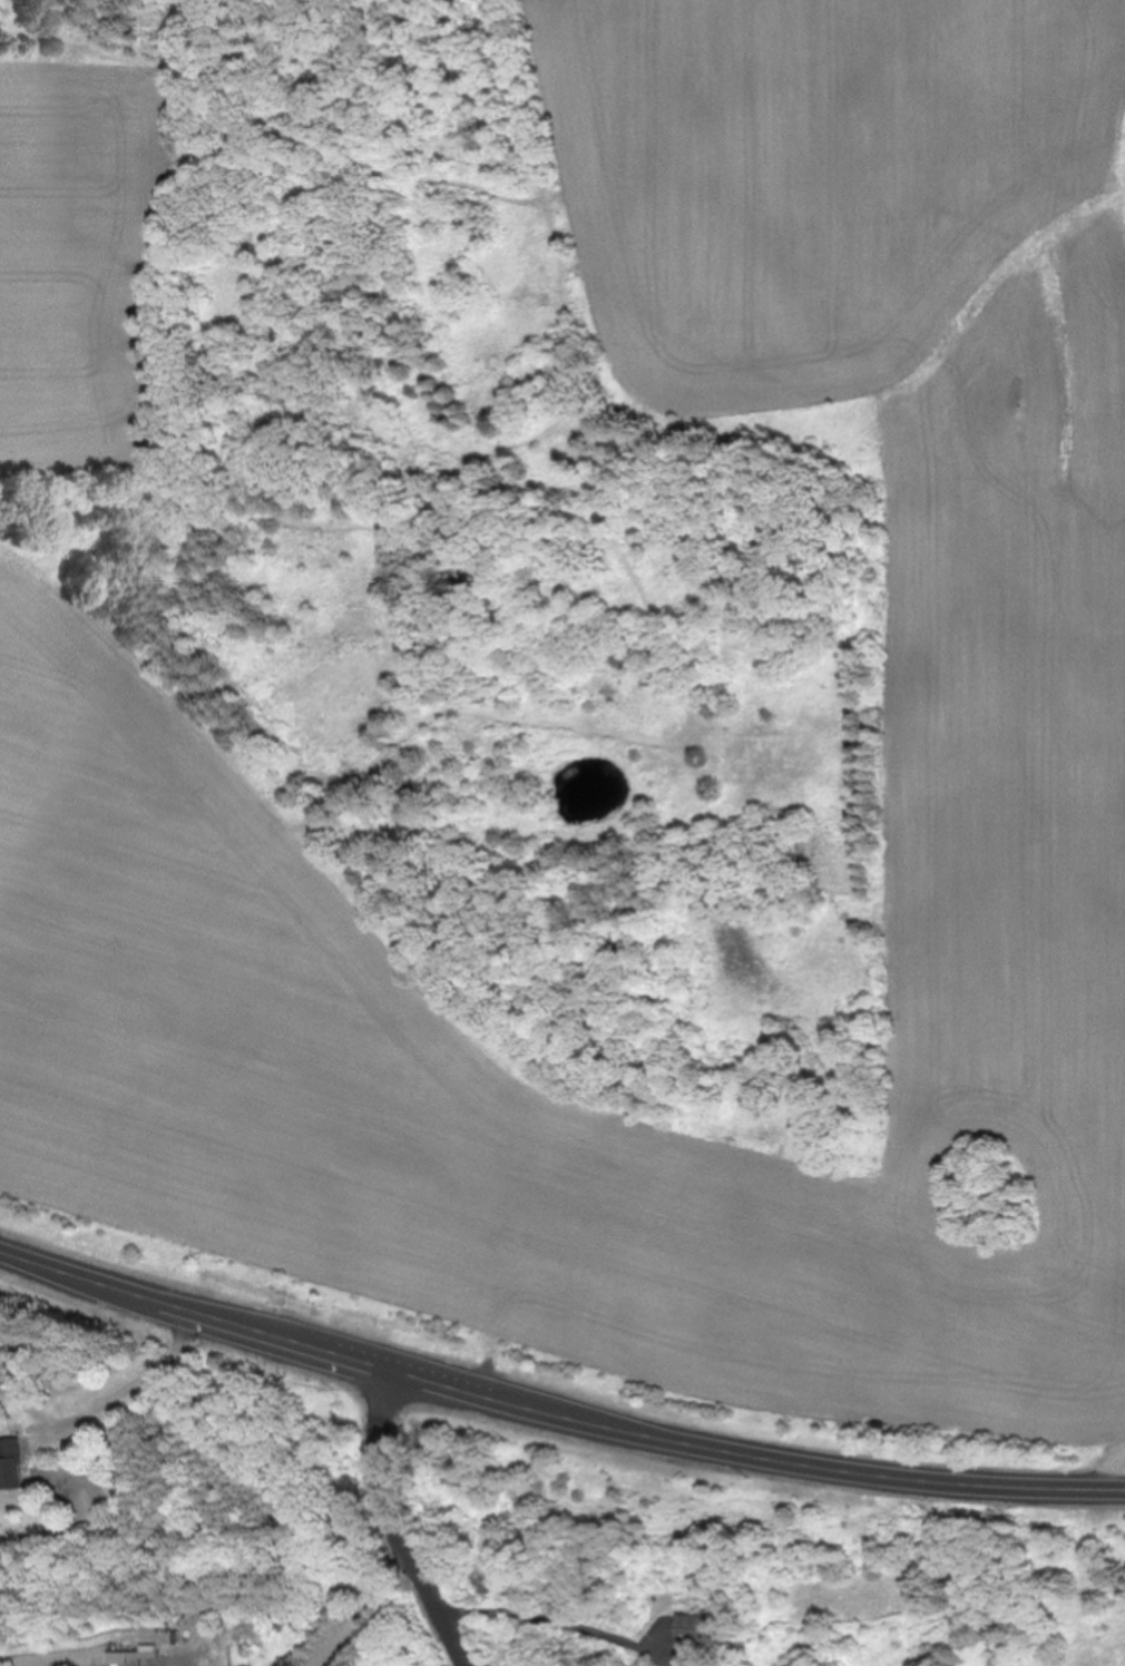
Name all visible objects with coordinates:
road: (125, 1395)
road: (554, 1417)
building: (10, 1463)
road: (1108, 1471)
road: (392, 1523)
road: (359, 1611)
road: (552, 1624)
building: (701, 1630)

